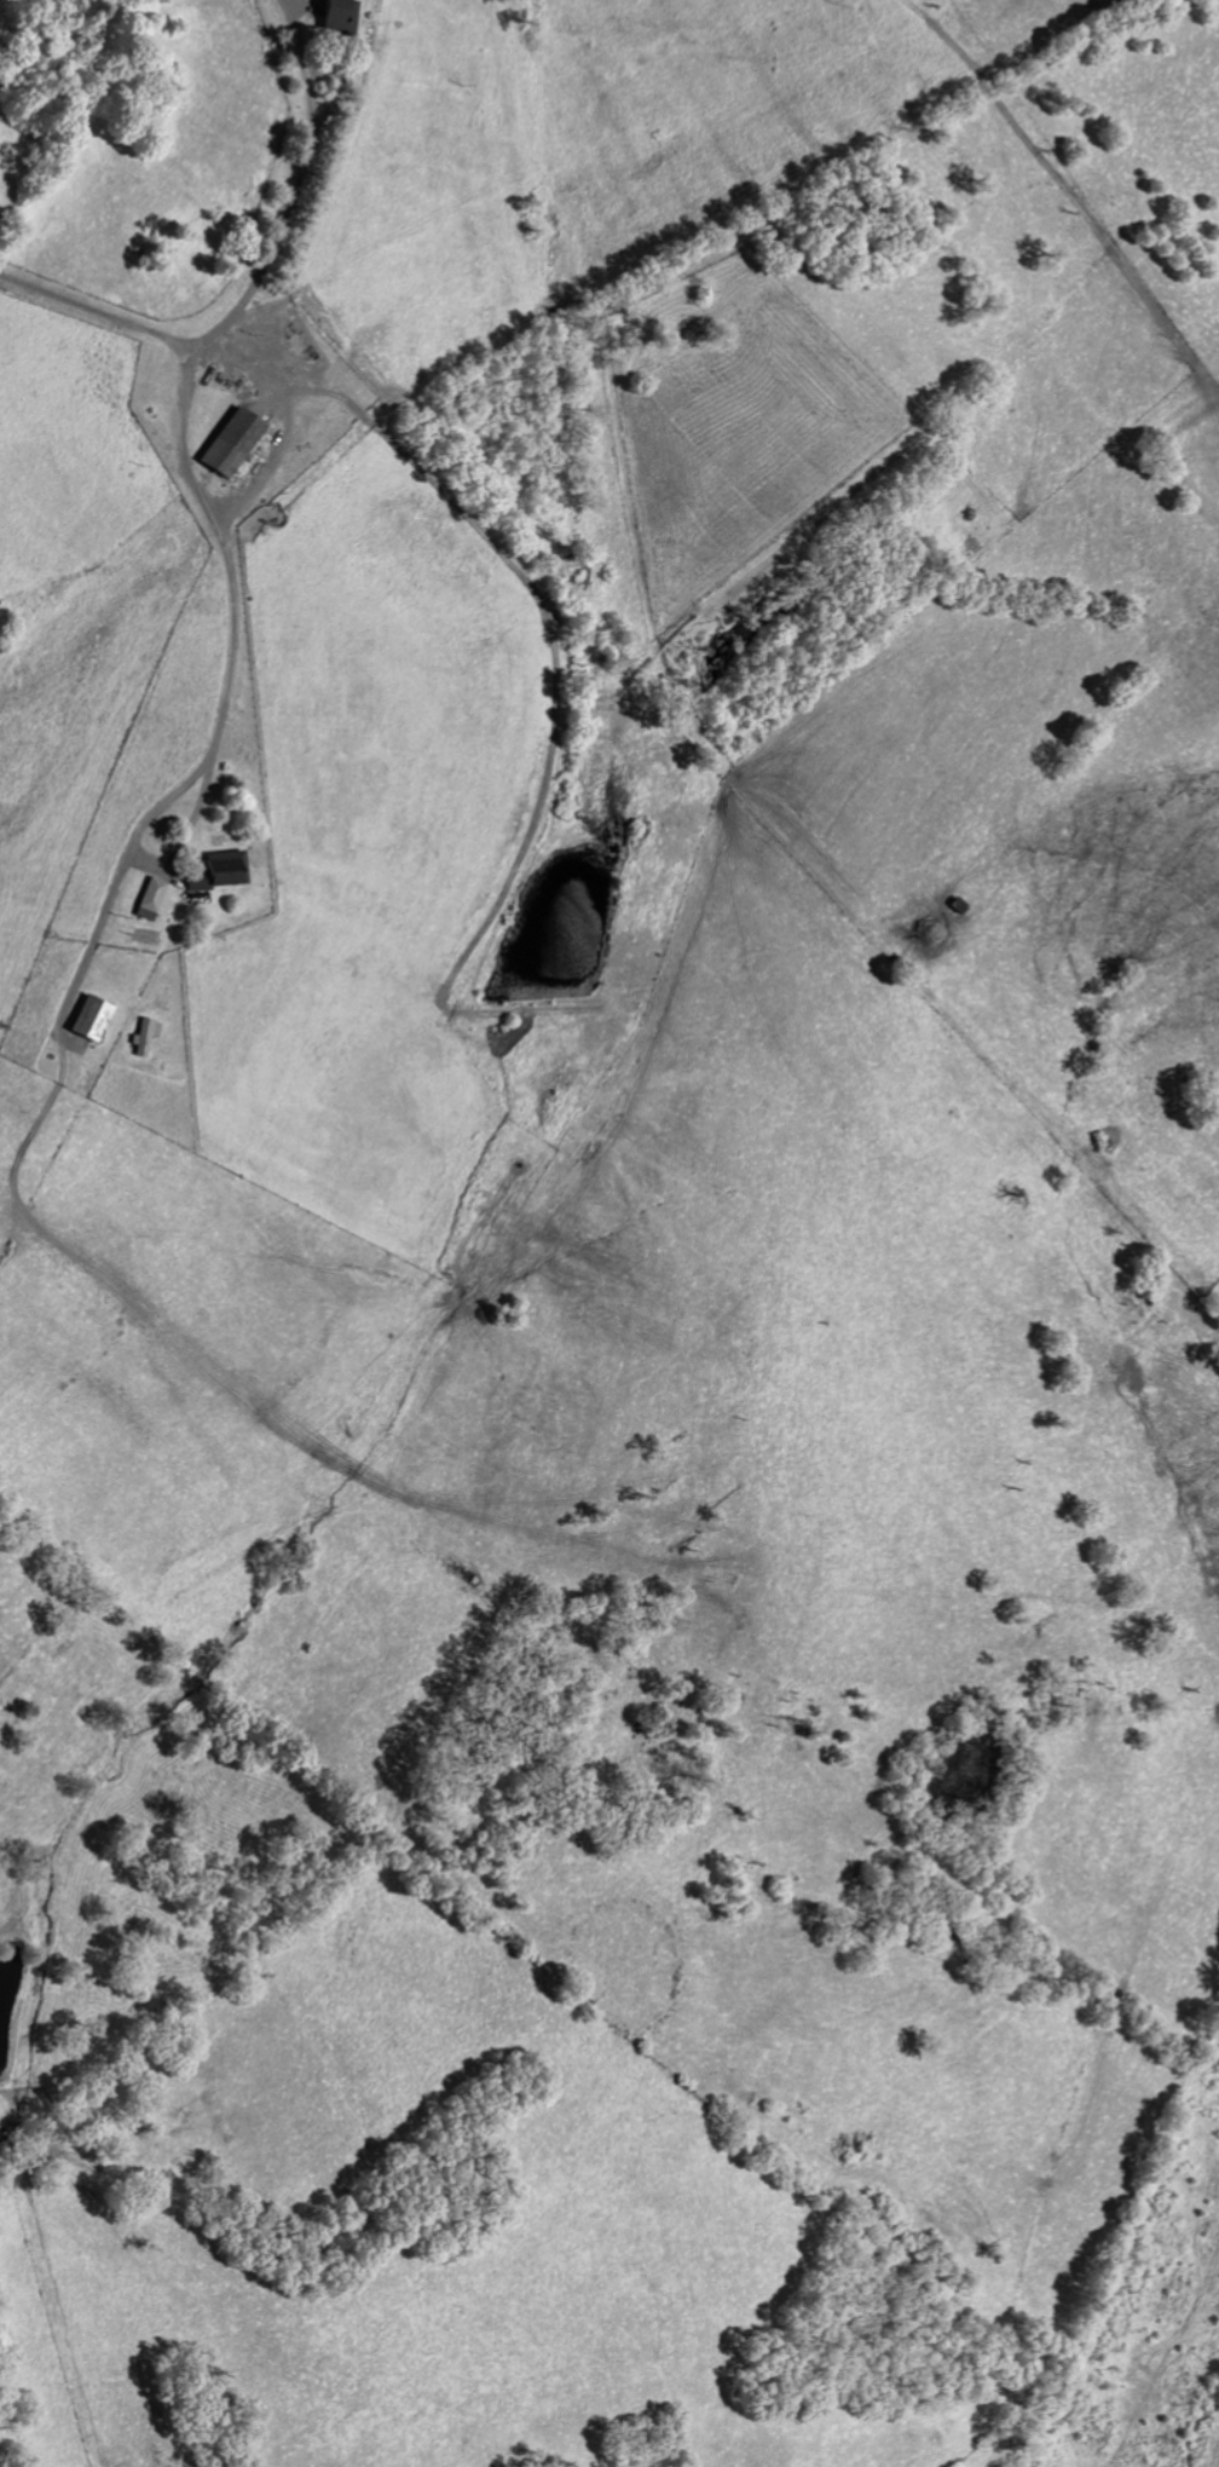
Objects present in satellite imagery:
building: (340, 18)
road: (270, 241)
road: (86, 310)
building: (233, 443)
road: (226, 675)
building: (219, 871)
building: (151, 899)
building: (91, 1019)
building: (145, 1036)

